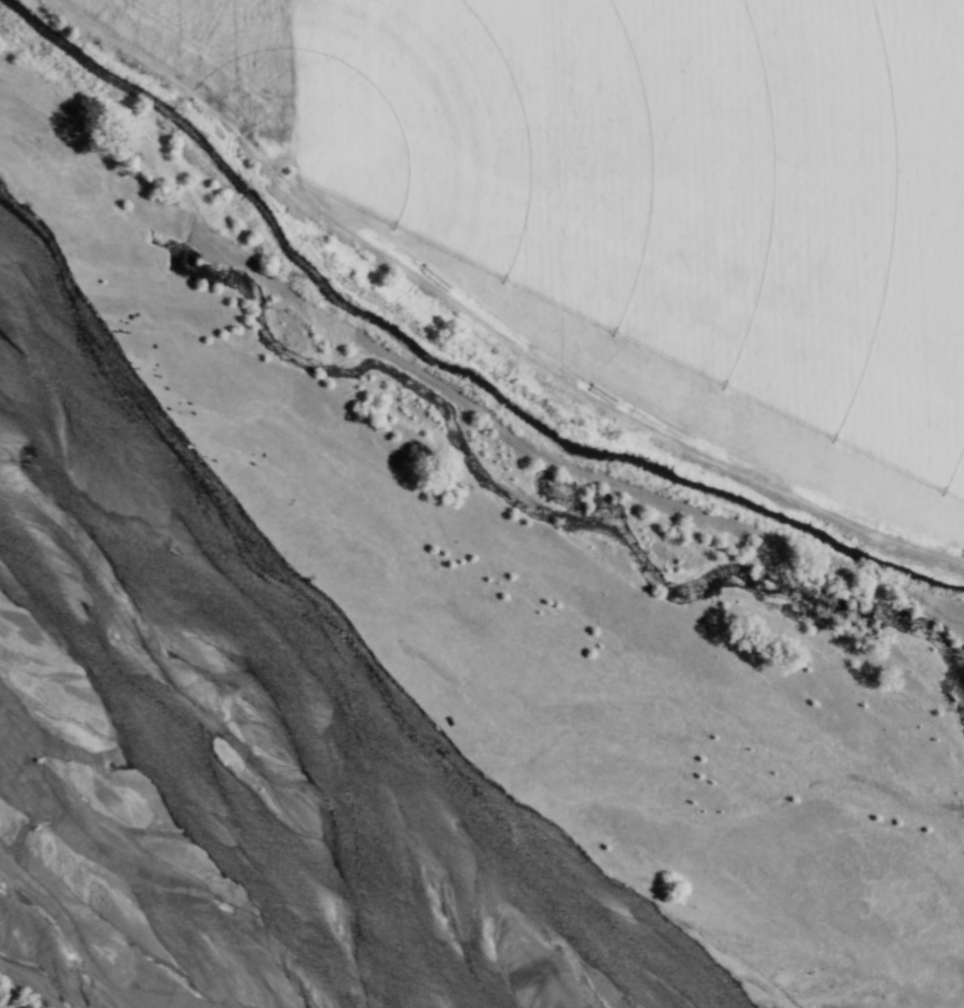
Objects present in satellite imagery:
river: (263, 693)

